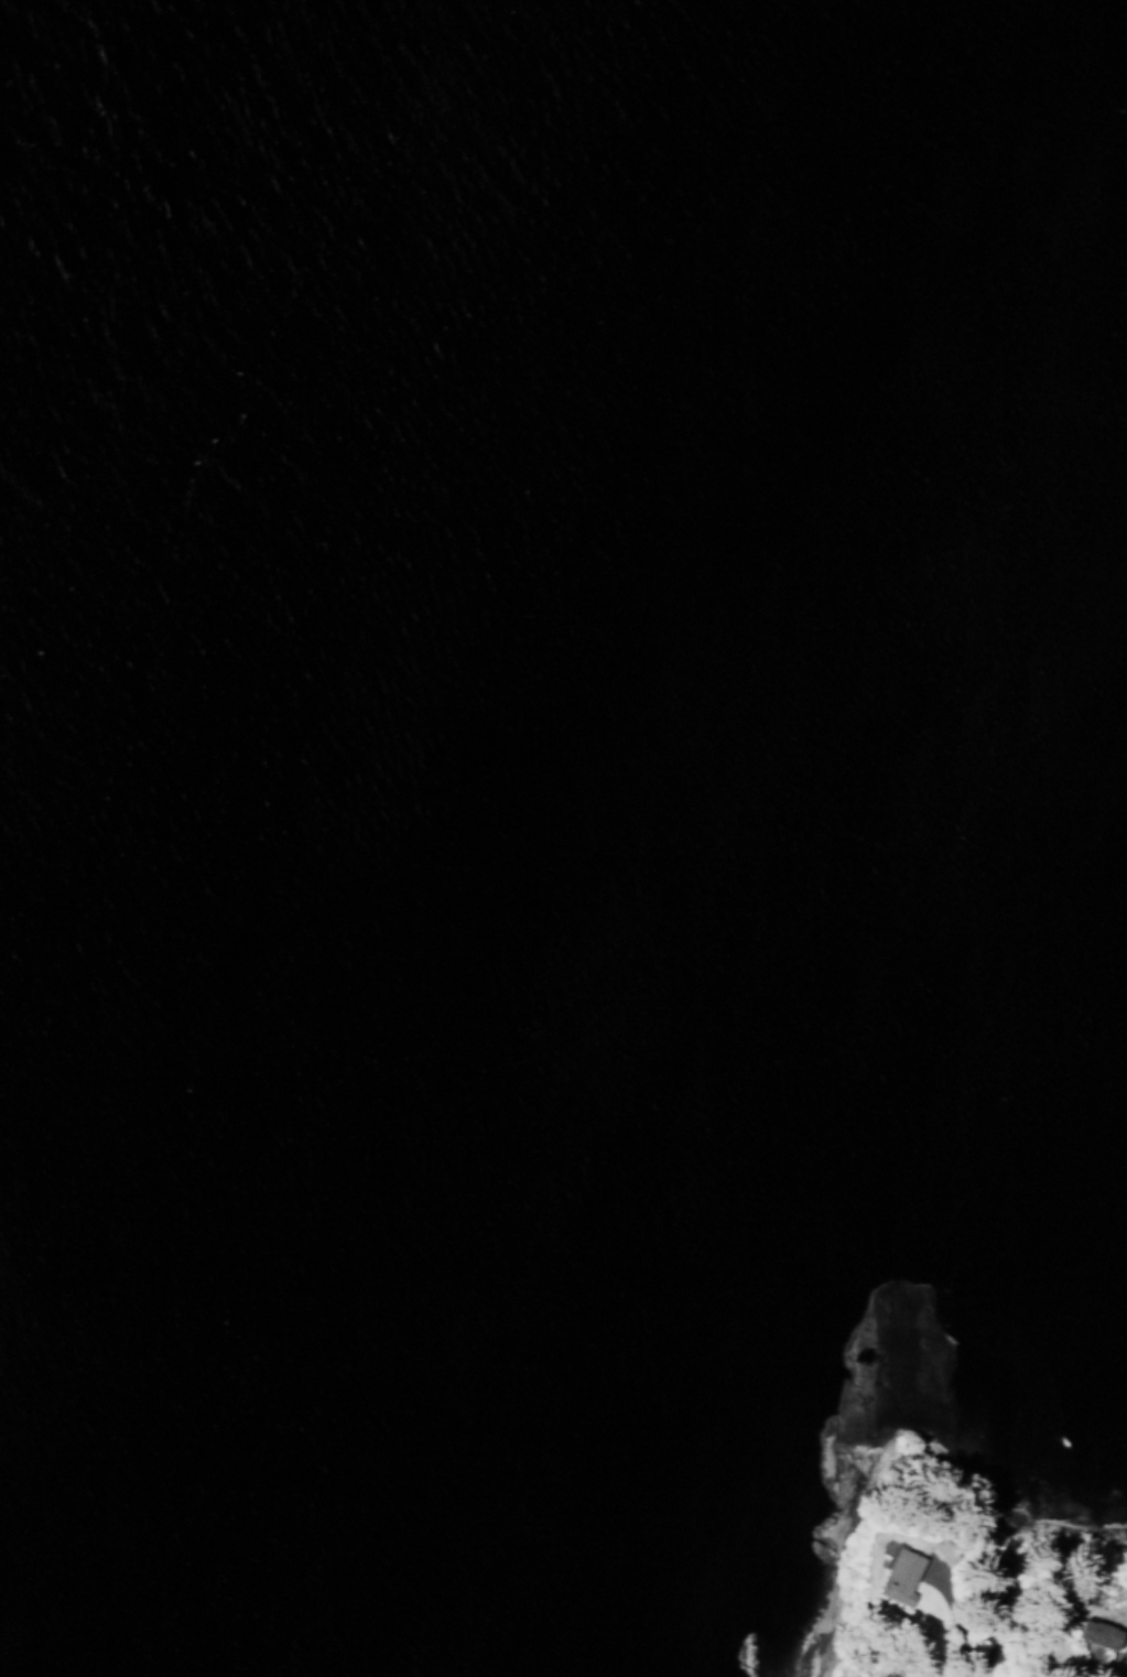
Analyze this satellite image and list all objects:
river: (1, 3)
building: (907, 1575)
building: (1098, 1629)
road: (1124, 1674)

